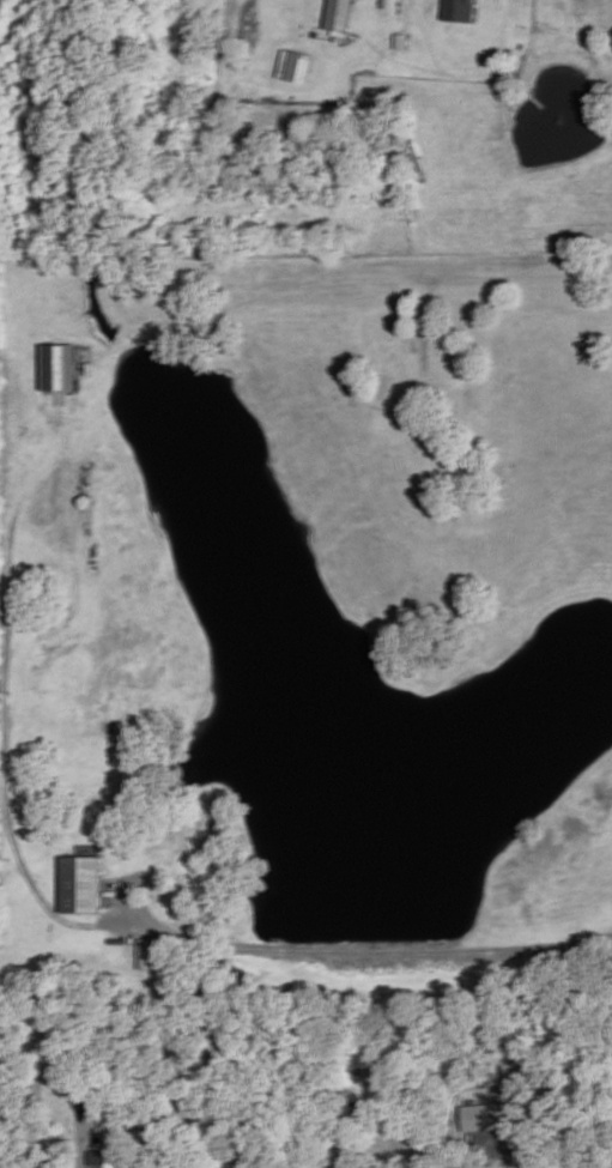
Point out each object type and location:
building: (459, 8)
building: (340, 14)
building: (291, 66)
building: (60, 370)
building: (83, 884)
road: (352, 952)
building: (486, 1115)
building: (454, 1149)
building: (97, 1167)

